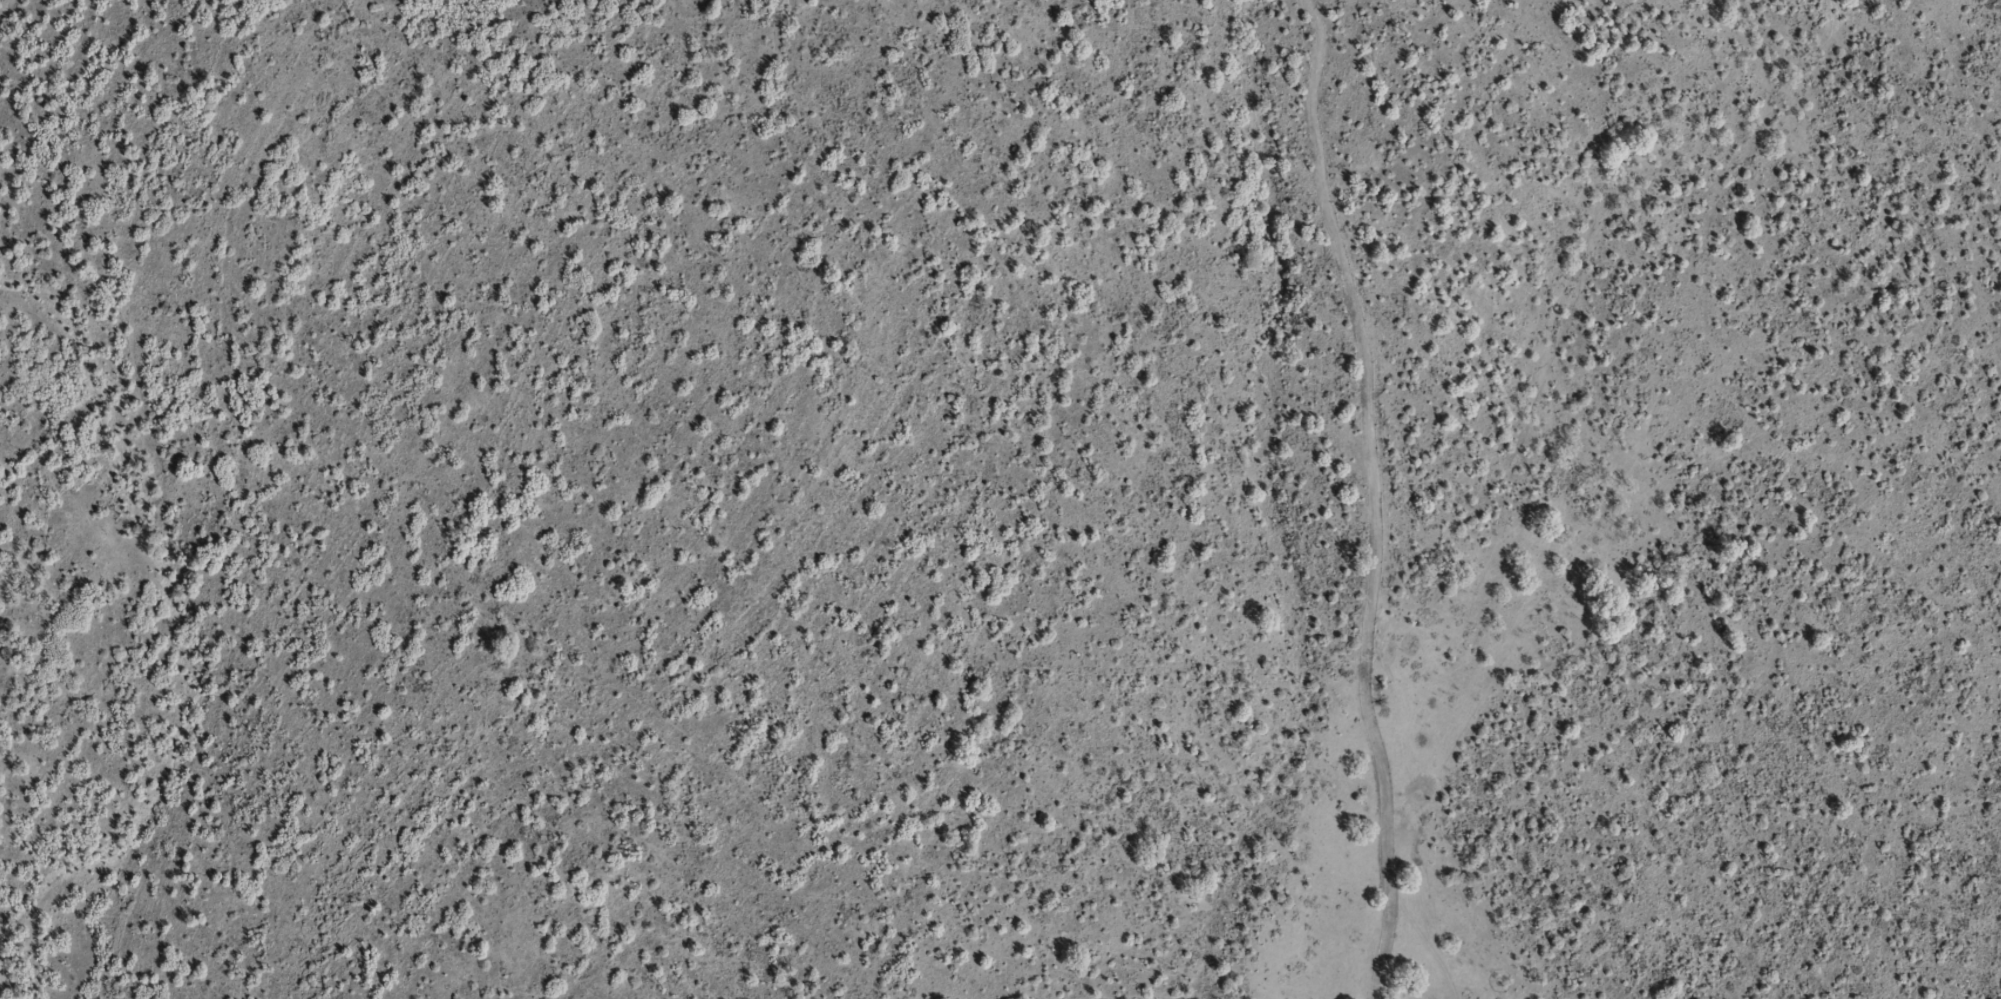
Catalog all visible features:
road: (1573, 459)

